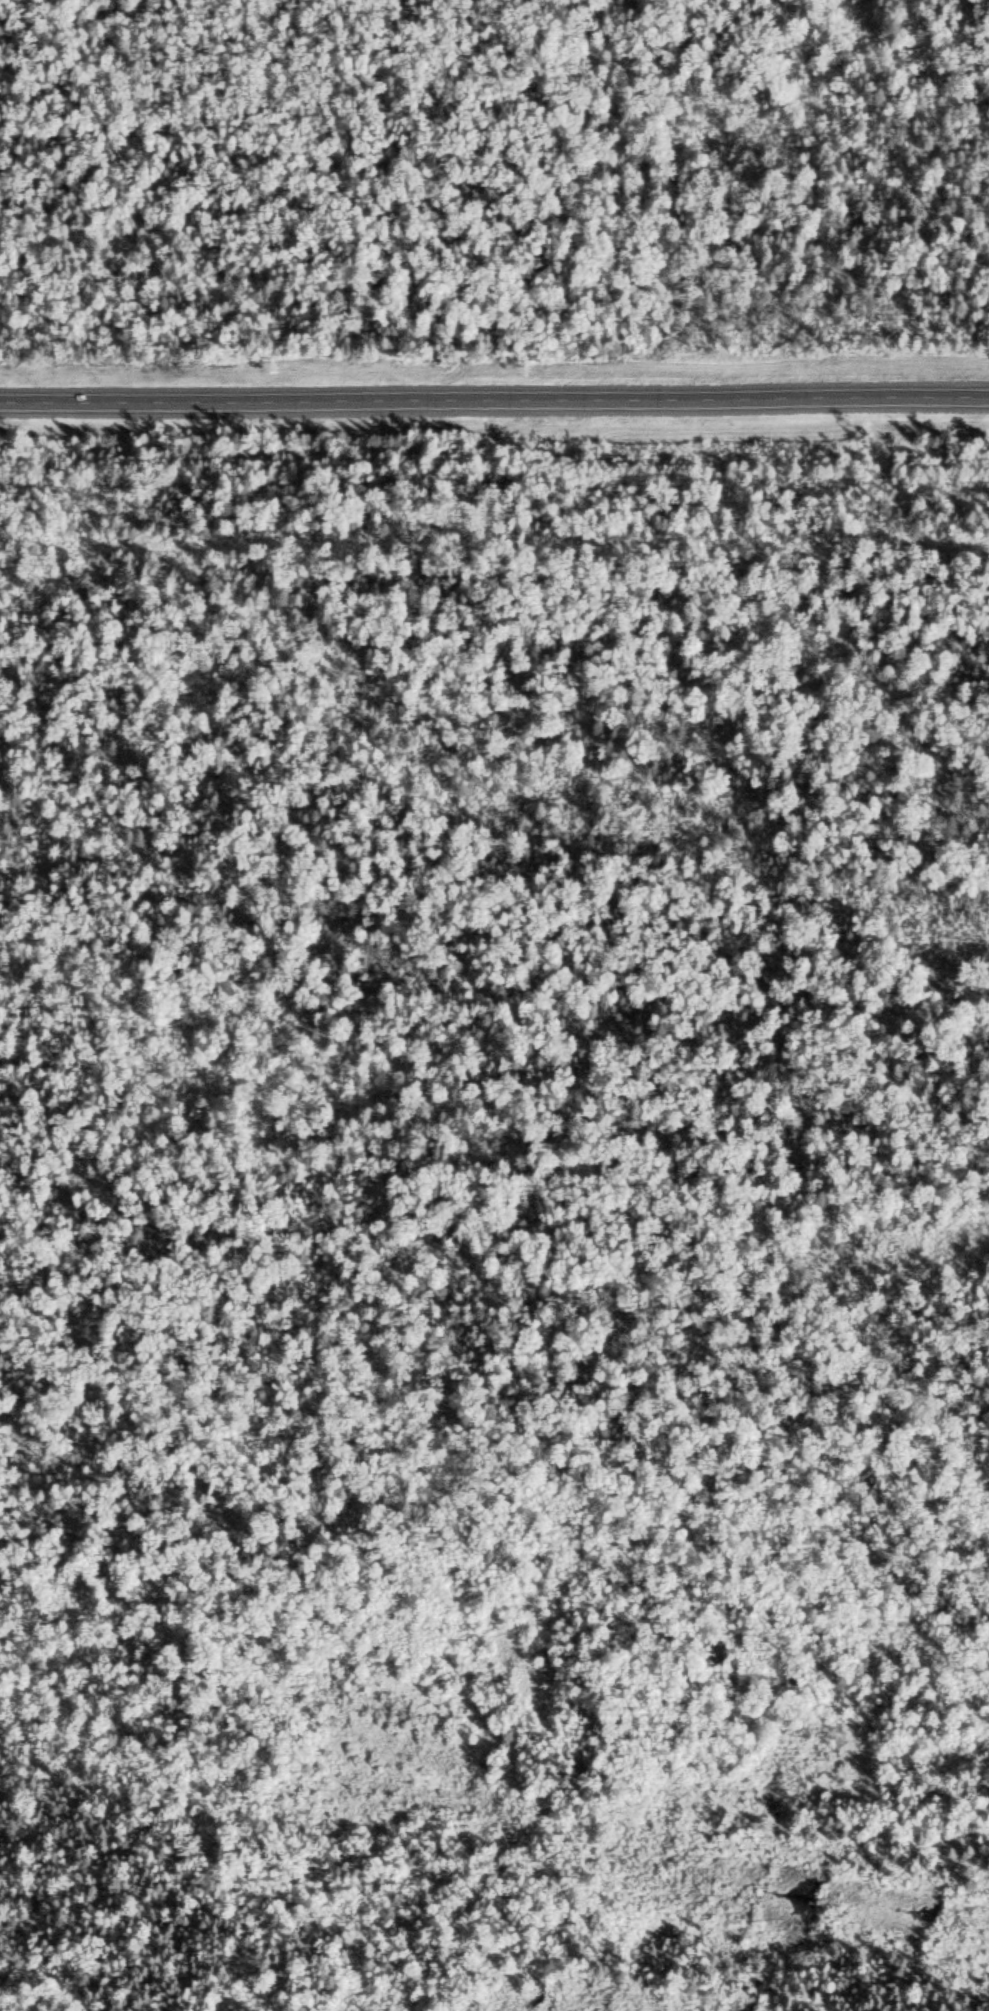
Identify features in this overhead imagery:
road: (494, 397)

